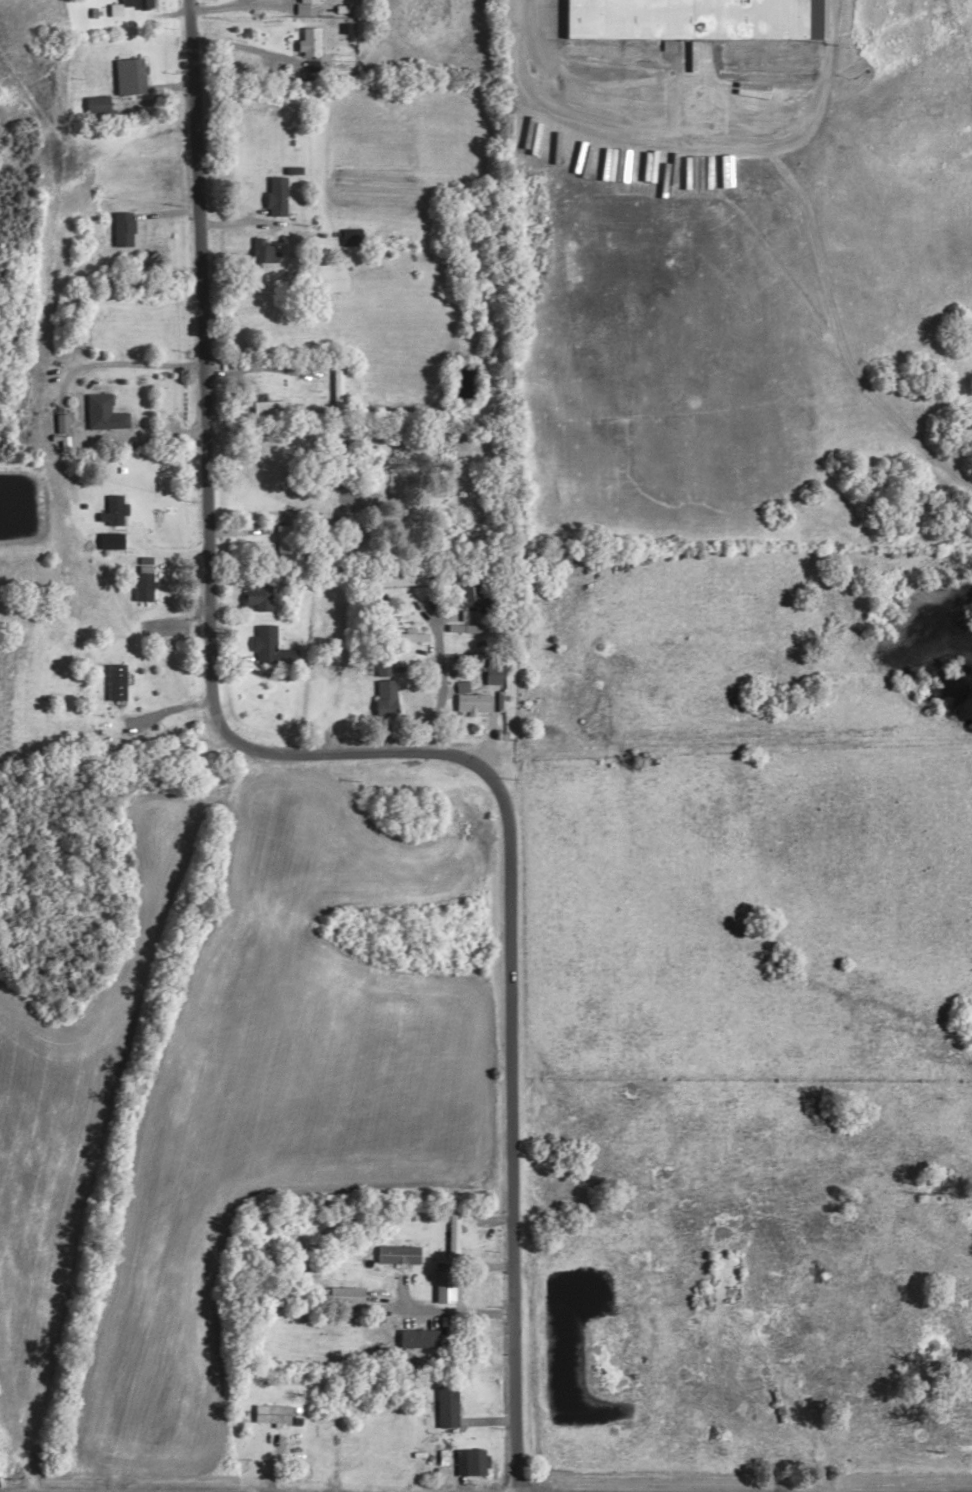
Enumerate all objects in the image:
building: (307, 0)
building: (126, 5)
building: (690, 16)
building: (308, 40)
building: (128, 75)
building: (769, 89)
building: (95, 103)
building: (274, 194)
building: (123, 228)
building: (348, 235)
building: (262, 250)
building: (265, 407)
building: (102, 411)
road: (209, 505)
building: (113, 507)
building: (284, 539)
building: (86, 563)
building: (397, 579)
building: (142, 581)
building: (467, 591)
building: (255, 594)
building: (409, 634)
building: (270, 644)
building: (381, 663)
building: (115, 680)
building: (343, 689)
building: (383, 695)
building: (420, 695)
building: (467, 698)
building: (636, 759)
road: (520, 1137)
building: (452, 1234)
road: (447, 1249)
building: (397, 1252)
building: (345, 1294)
building: (445, 1404)
building: (301, 1406)
building: (269, 1412)
building: (343, 1433)
building: (468, 1460)

